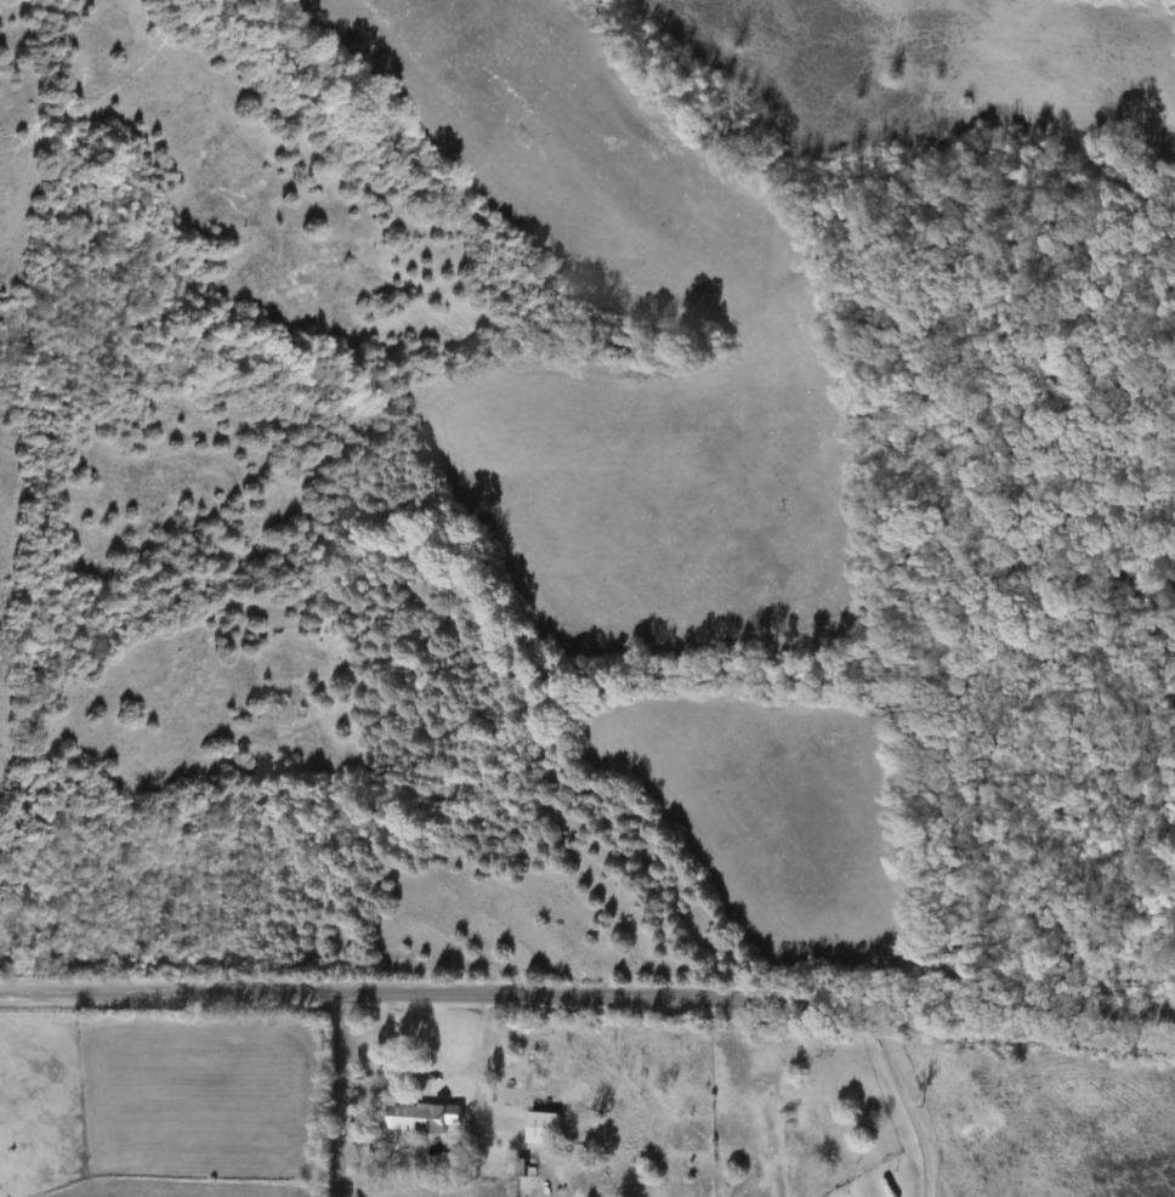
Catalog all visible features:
road: (171, 992)
road: (759, 999)
road: (436, 1072)
road: (341, 1094)
road: (896, 1097)
building: (420, 1117)
building: (539, 1128)

